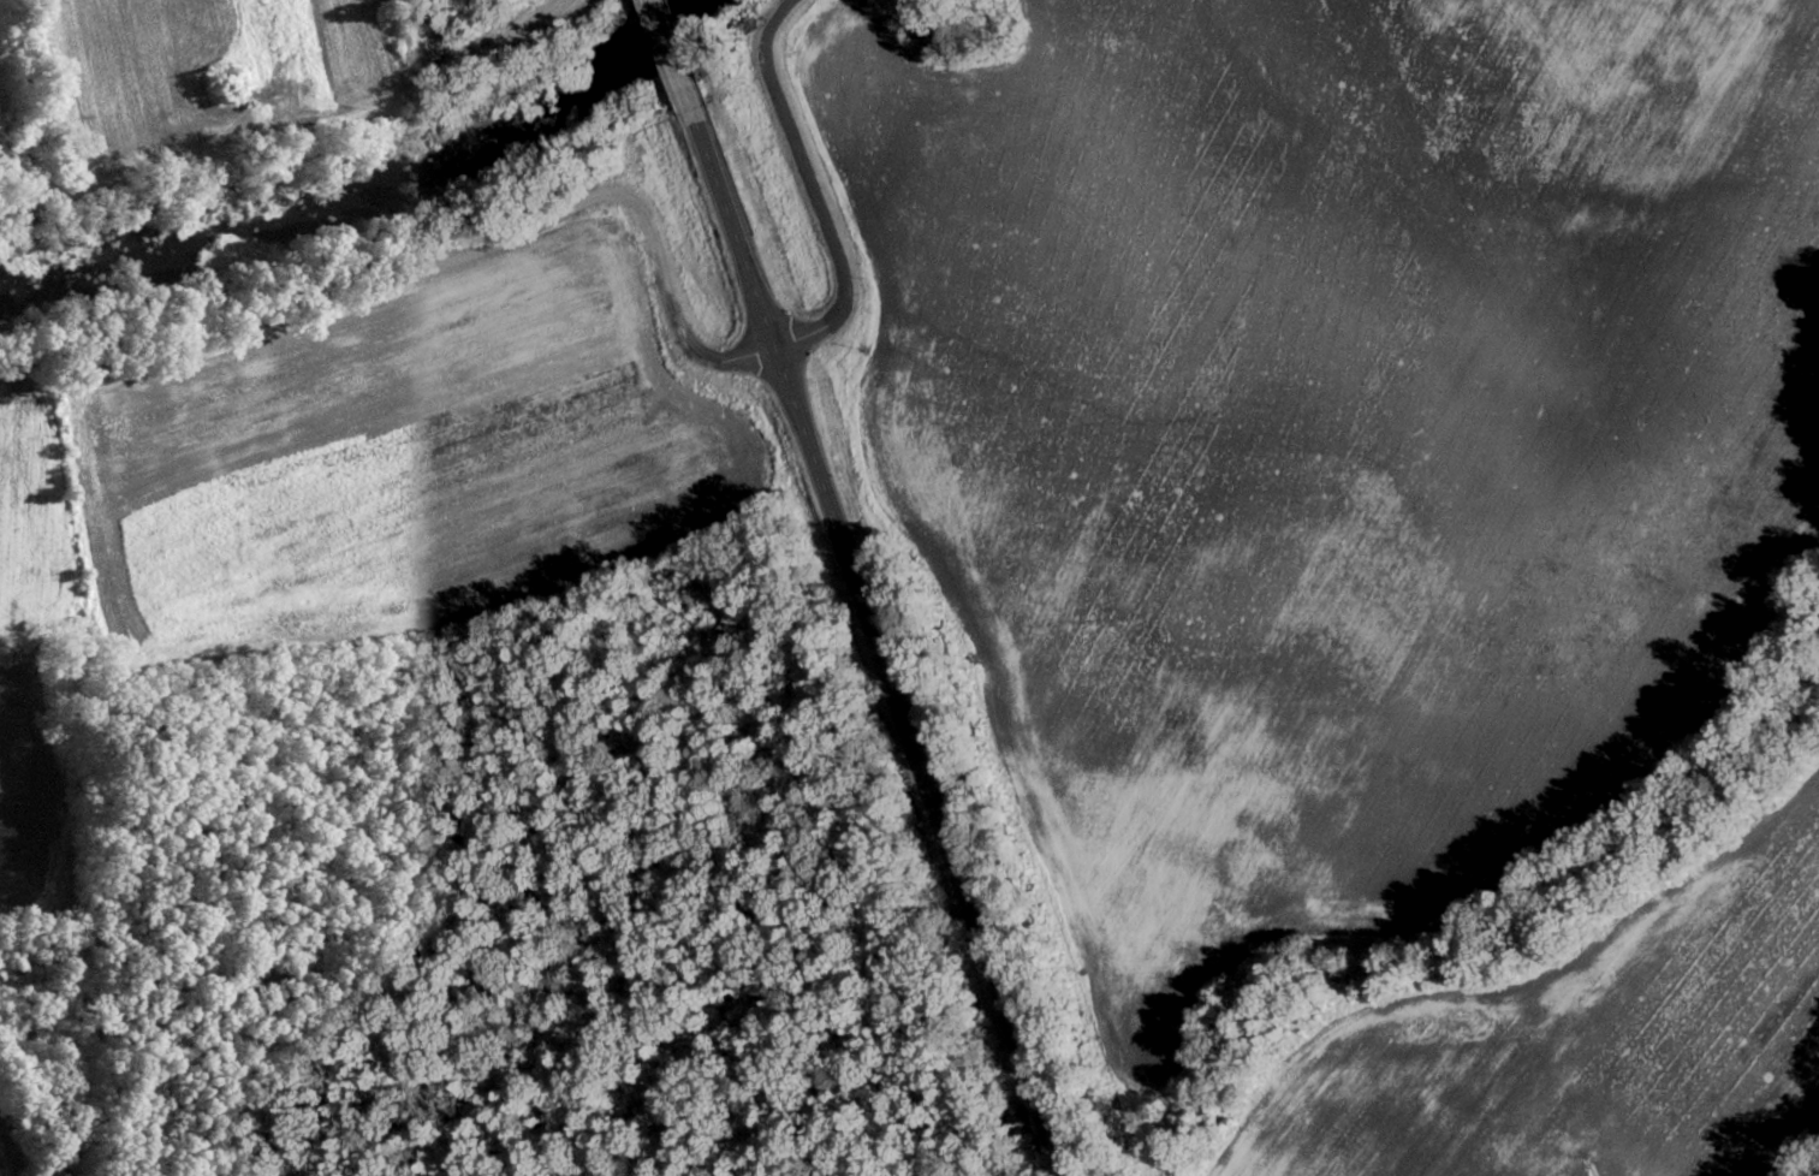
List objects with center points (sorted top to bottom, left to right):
airport runway: (277, 40)
road: (676, 60)
road: (296, 138)
road: (815, 191)
river: (364, 192)
road: (887, 646)

